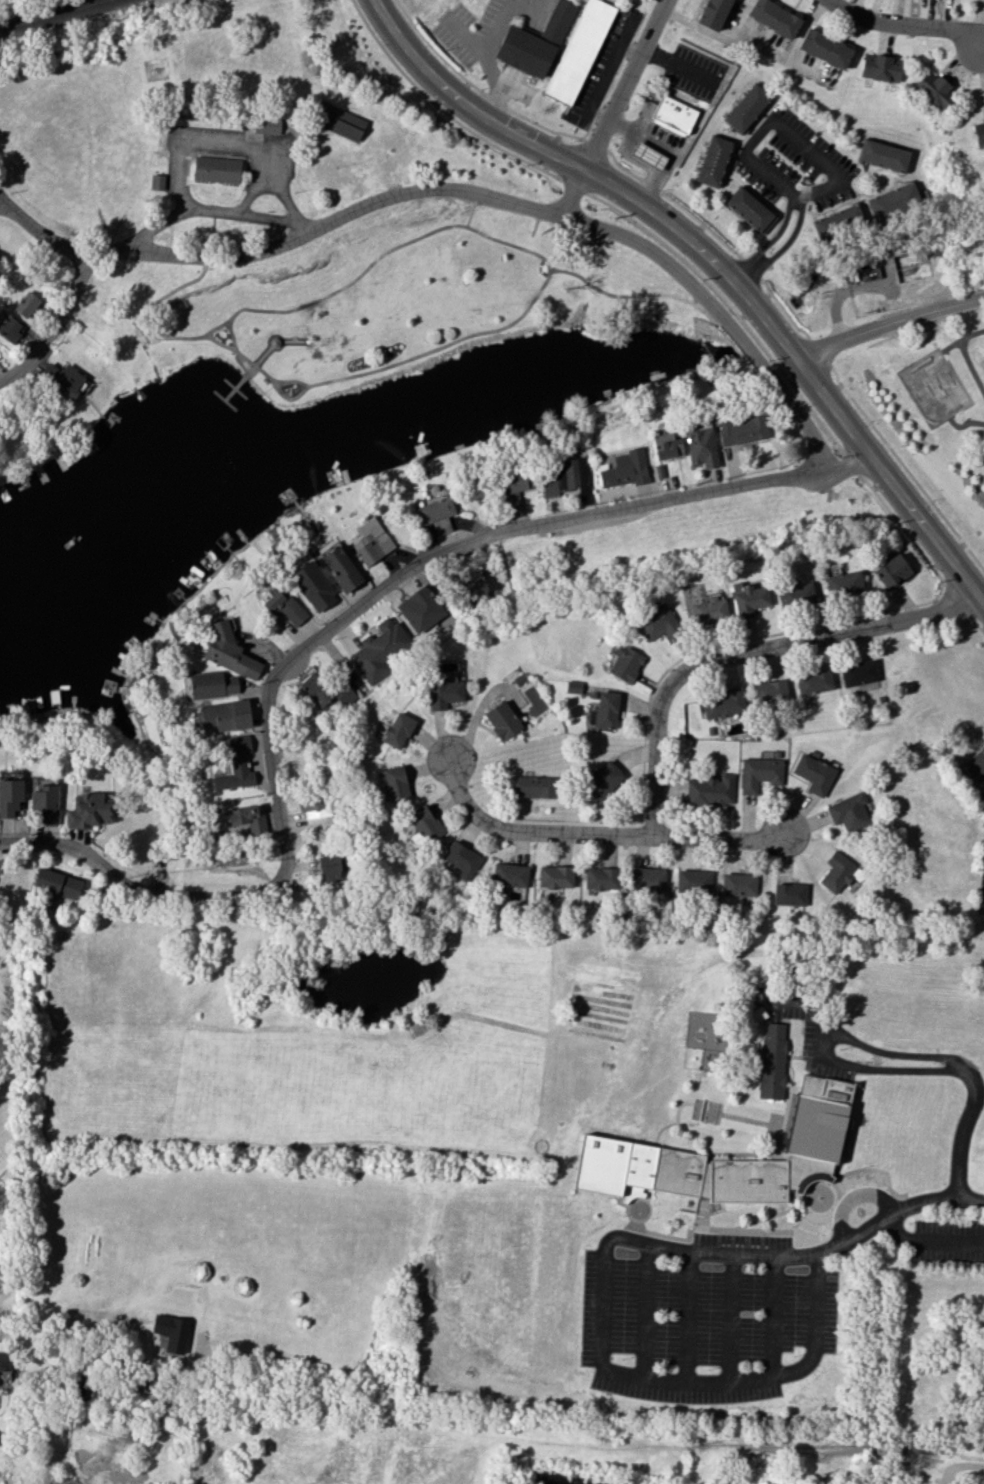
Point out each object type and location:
railway: (46, 13)
building: (713, 13)
building: (774, 17)
road: (906, 24)
road: (804, 26)
building: (534, 41)
building: (825, 48)
road: (630, 50)
building: (578, 51)
road: (783, 53)
road: (487, 59)
road: (680, 63)
building: (880, 67)
road: (609, 68)
road: (625, 83)
road: (478, 88)
building: (934, 90)
building: (747, 107)
road: (600, 112)
building: (673, 115)
building: (339, 121)
building: (266, 124)
road: (782, 126)
road: (310, 131)
building: (979, 132)
park: (267, 134)
road: (197, 139)
road: (596, 144)
road: (668, 146)
building: (647, 155)
building: (883, 155)
road: (630, 157)
building: (713, 160)
road: (242, 164)
road: (622, 166)
building: (216, 169)
building: (157, 181)
road: (213, 183)
road: (651, 185)
road: (425, 189)
road: (572, 191)
road: (252, 193)
building: (893, 201)
road: (2, 203)
building: (750, 210)
road: (473, 213)
road: (244, 216)
building: (838, 222)
road: (701, 223)
road: (40, 233)
road: (770, 240)
river: (874, 246)
road: (782, 247)
road: (540, 257)
road: (713, 259)
road: (751, 268)
park: (383, 294)
road: (623, 297)
building: (26, 303)
road: (730, 309)
road: (783, 310)
road: (889, 320)
river: (771, 321)
building: (10, 326)
road: (56, 326)
road: (213, 329)
road: (971, 335)
road: (158, 337)
road: (744, 347)
road: (271, 348)
road: (819, 350)
road: (966, 359)
building: (62, 380)
park: (933, 388)
road: (235, 389)
road: (235, 389)
road: (290, 399)
road: (224, 400)
road: (798, 414)
park: (928, 416)
road: (964, 427)
building: (741, 430)
building: (667, 446)
building: (701, 447)
road: (852, 466)
road: (905, 467)
building: (625, 469)
building: (565, 476)
building: (512, 487)
building: (435, 509)
building: (371, 543)
road: (925, 558)
road: (425, 560)
building: (341, 568)
building: (891, 571)
building: (843, 584)
building: (477, 585)
building: (313, 586)
road: (953, 590)
building: (795, 594)
building: (748, 598)
building: (282, 606)
building: (420, 609)
building: (708, 611)
road: (977, 616)
building: (655, 622)
building: (378, 650)
road: (744, 651)
building: (229, 653)
building: (625, 663)
building: (858, 673)
building: (814, 681)
building: (212, 684)
building: (572, 686)
building: (324, 691)
building: (769, 691)
building: (443, 692)
building: (724, 703)
building: (605, 709)
building: (224, 715)
building: (502, 720)
building: (397, 730)
building: (235, 763)
building: (976, 765)
building: (758, 773)
building: (814, 773)
building: (602, 779)
building: (395, 782)
building: (530, 786)
building: (710, 790)
building: (10, 797)
building: (44, 800)
building: (314, 804)
building: (89, 810)
building: (848, 812)
building: (235, 815)
building: (423, 825)
road: (529, 830)
road: (716, 837)
building: (462, 859)
road: (102, 864)
building: (329, 867)
building: (838, 872)
building: (510, 874)
building: (555, 877)
building: (601, 878)
building: (647, 879)
building: (693, 881)
building: (57, 883)
building: (738, 884)
building: (789, 894)
road: (209, 897)
parking lot: (982, 912)
road: (939, 1056)
building: (771, 1060)
road: (868, 1067)
crop: (276, 1116)
building: (610, 1149)
road: (852, 1197)
road: (896, 1215)
parking lot: (948, 1243)
road: (930, 1244)
road: (645, 1312)
road: (775, 1317)
road: (687, 1320)
road: (731, 1320)
parking lot: (702, 1321)
building: (170, 1332)
building: (5, 1360)
road: (604, 1360)
building: (929, 1445)
dam: (49, 1469)
building: (973, 1478)

